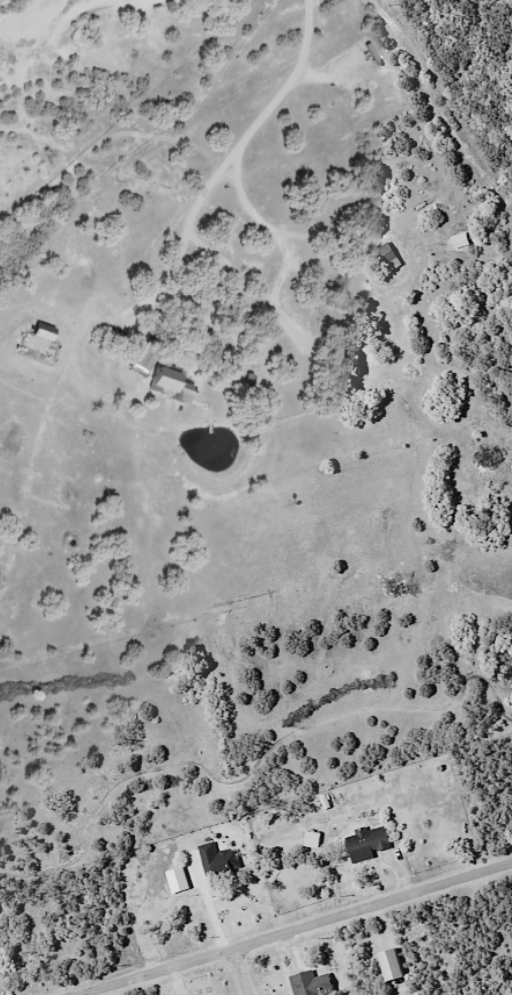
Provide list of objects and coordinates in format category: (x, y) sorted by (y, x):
road: (74, 156)
road: (300, 224)
building: (242, 319)
building: (168, 384)
building: (365, 845)
building: (215, 864)
road: (291, 928)
road: (246, 970)
building: (310, 984)

